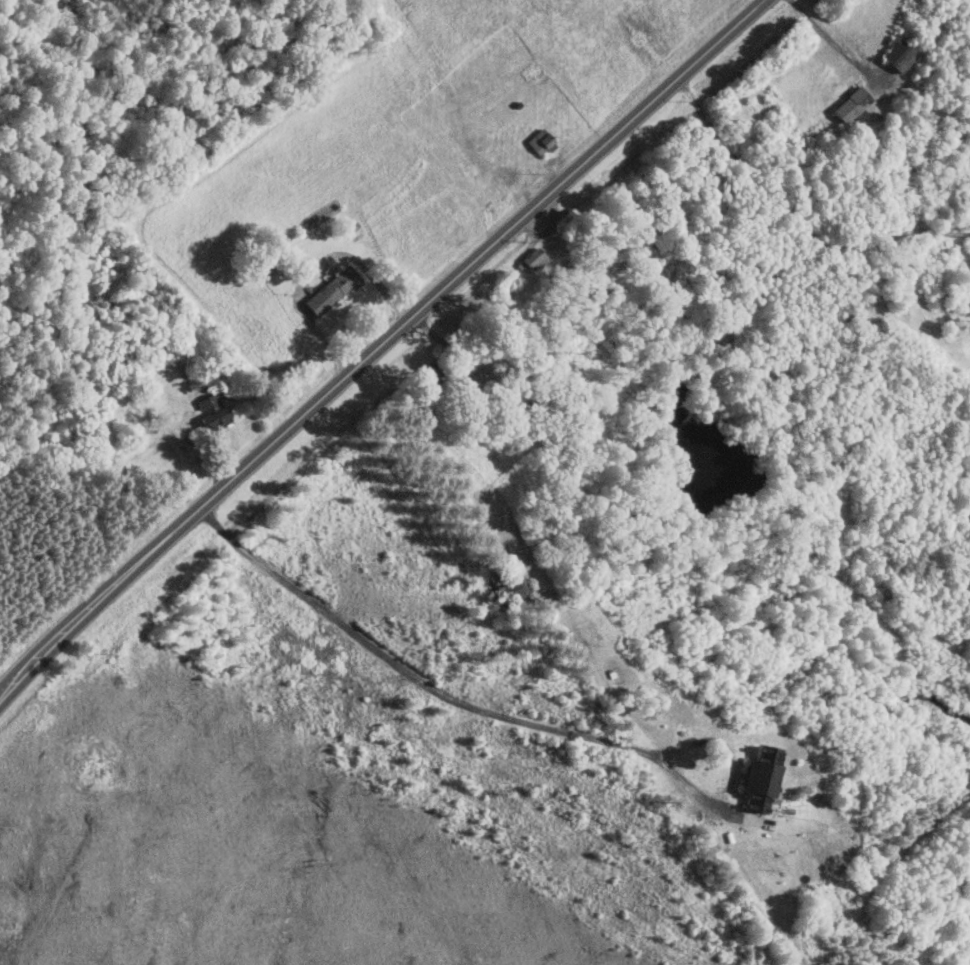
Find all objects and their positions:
road: (833, 43)
building: (897, 55)
building: (851, 105)
building: (540, 142)
road: (797, 215)
building: (531, 260)
road: (315, 268)
building: (329, 290)
road: (379, 348)
building: (210, 411)
road: (505, 716)
building: (757, 777)

